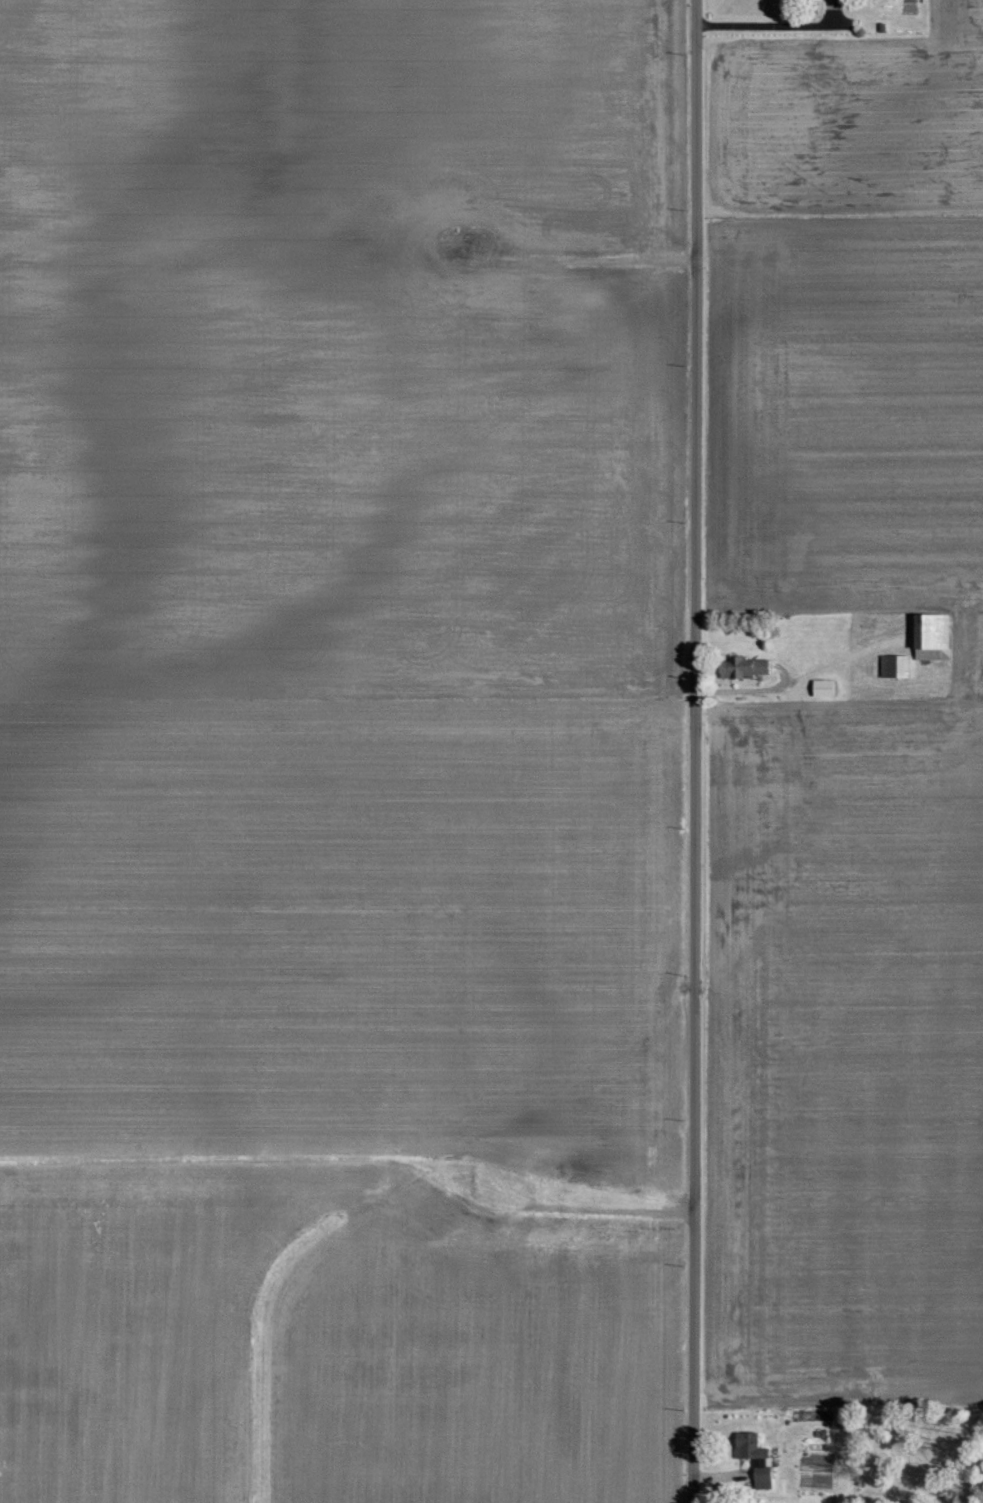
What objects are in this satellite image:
road: (699, 364)
building: (933, 631)
building: (895, 665)
building: (743, 667)
building: (824, 687)
crop: (845, 721)
road: (696, 1115)
building: (751, 1447)
building: (764, 1473)

